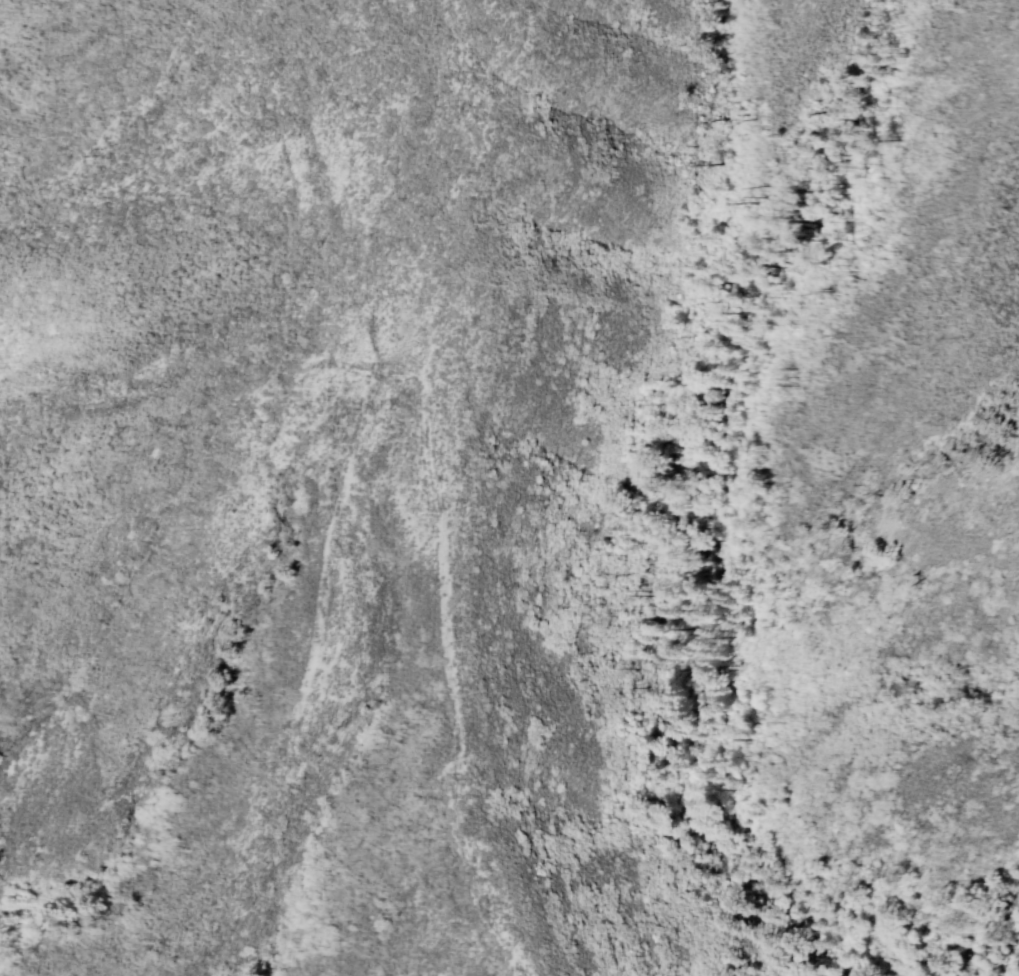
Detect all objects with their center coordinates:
road: (129, 123)
road: (439, 492)

